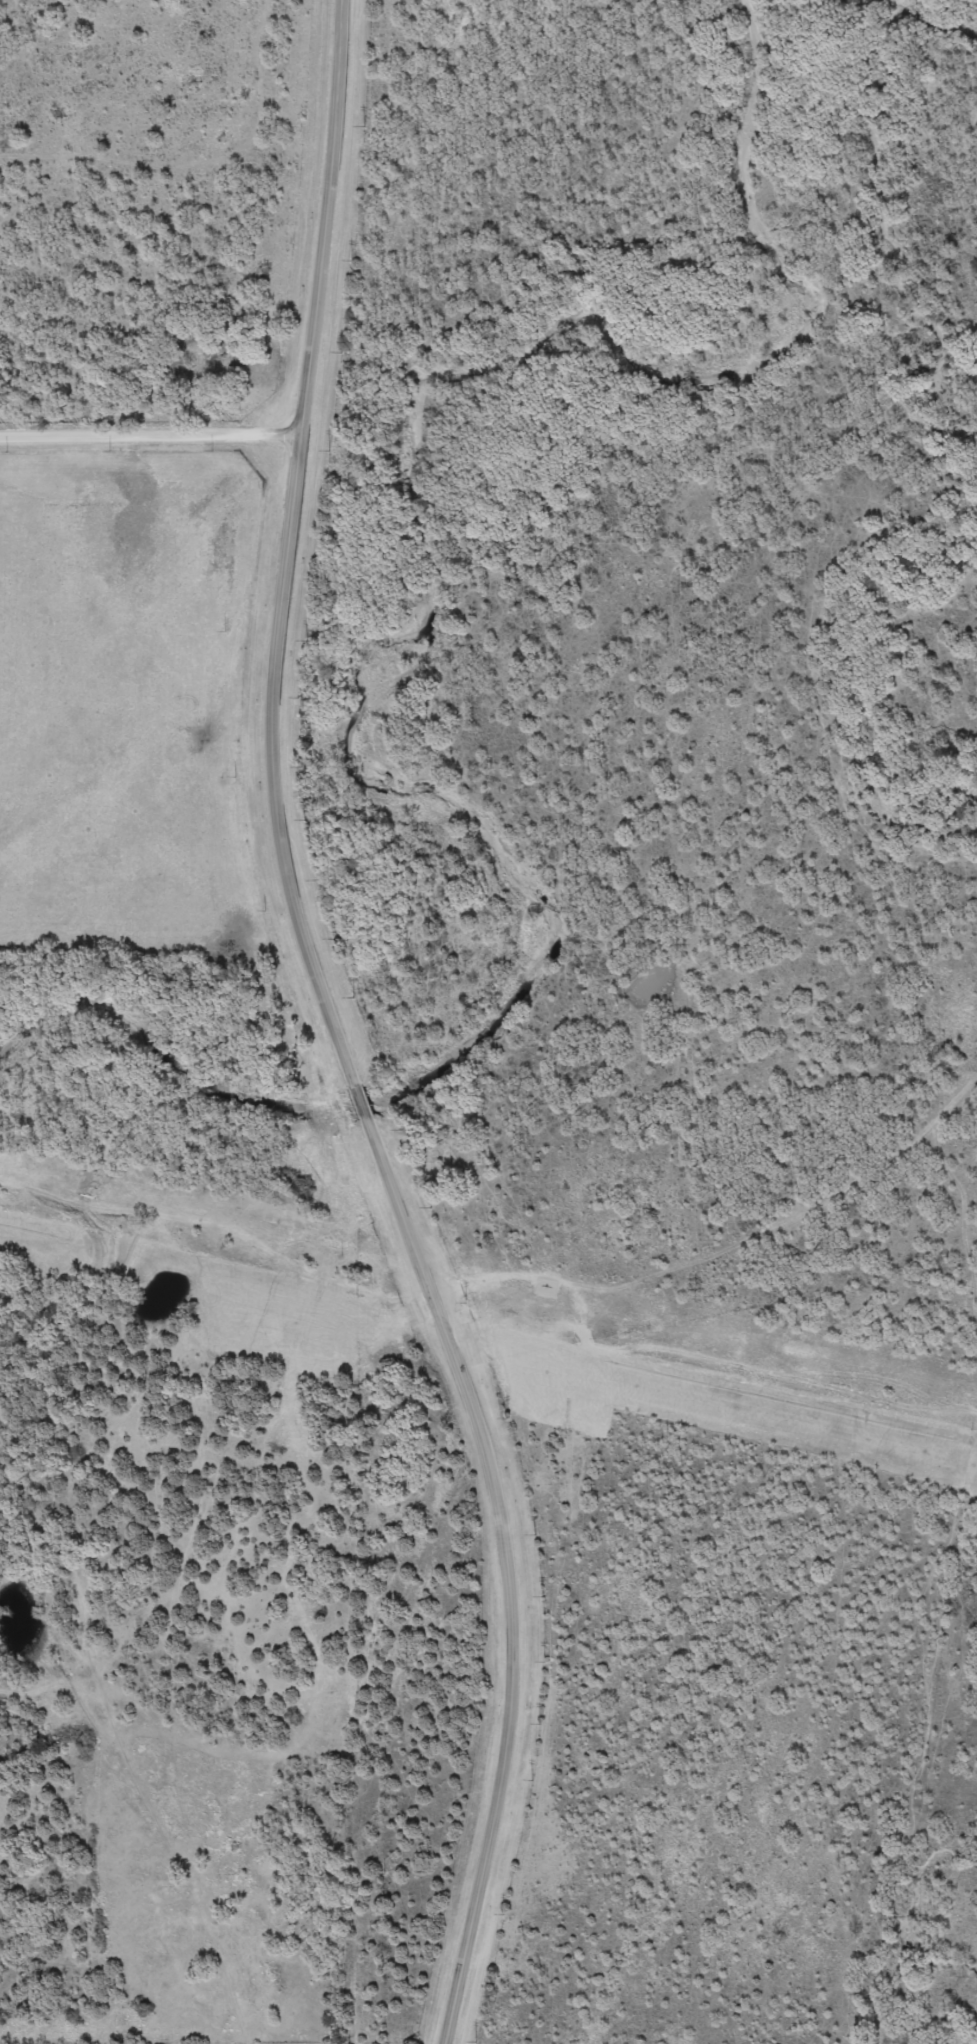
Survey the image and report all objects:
road: (150, 432)
road: (286, 546)
road: (360, 1100)
road: (510, 1572)

